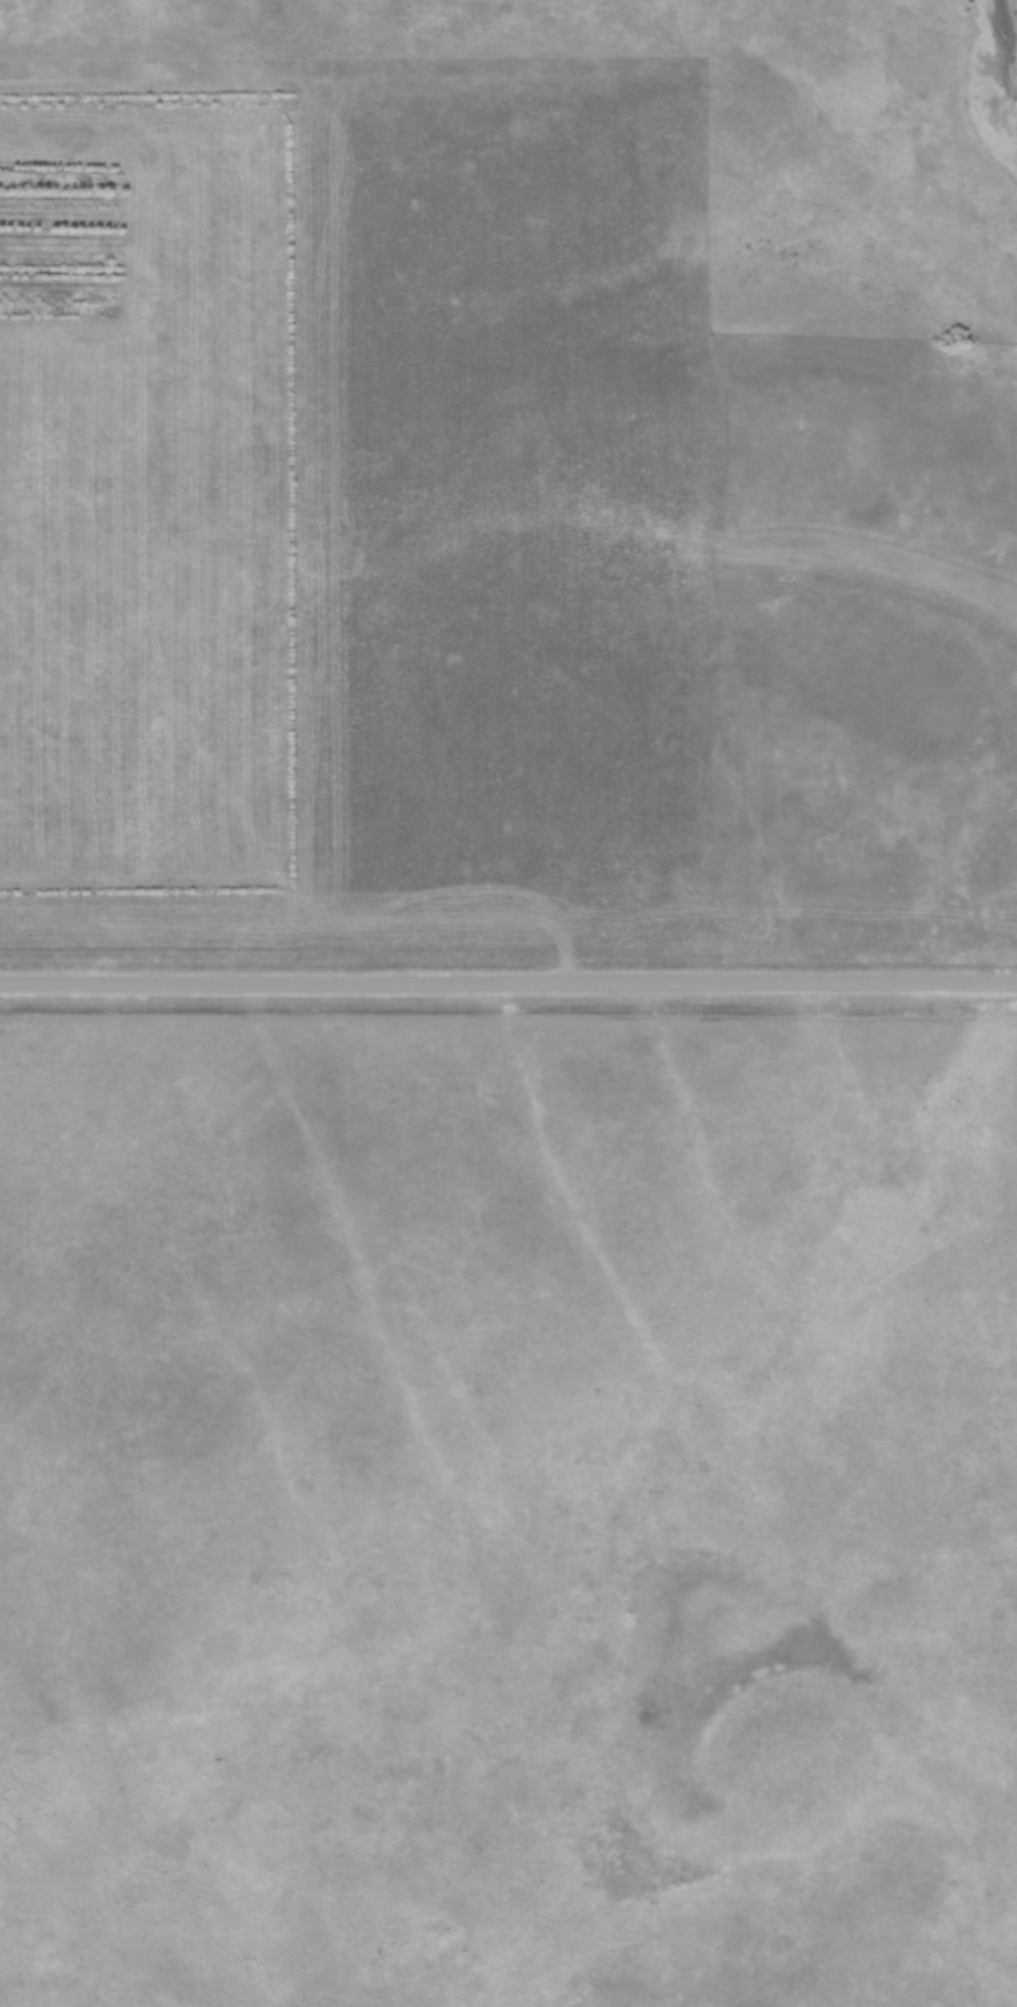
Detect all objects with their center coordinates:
road: (508, 984)

